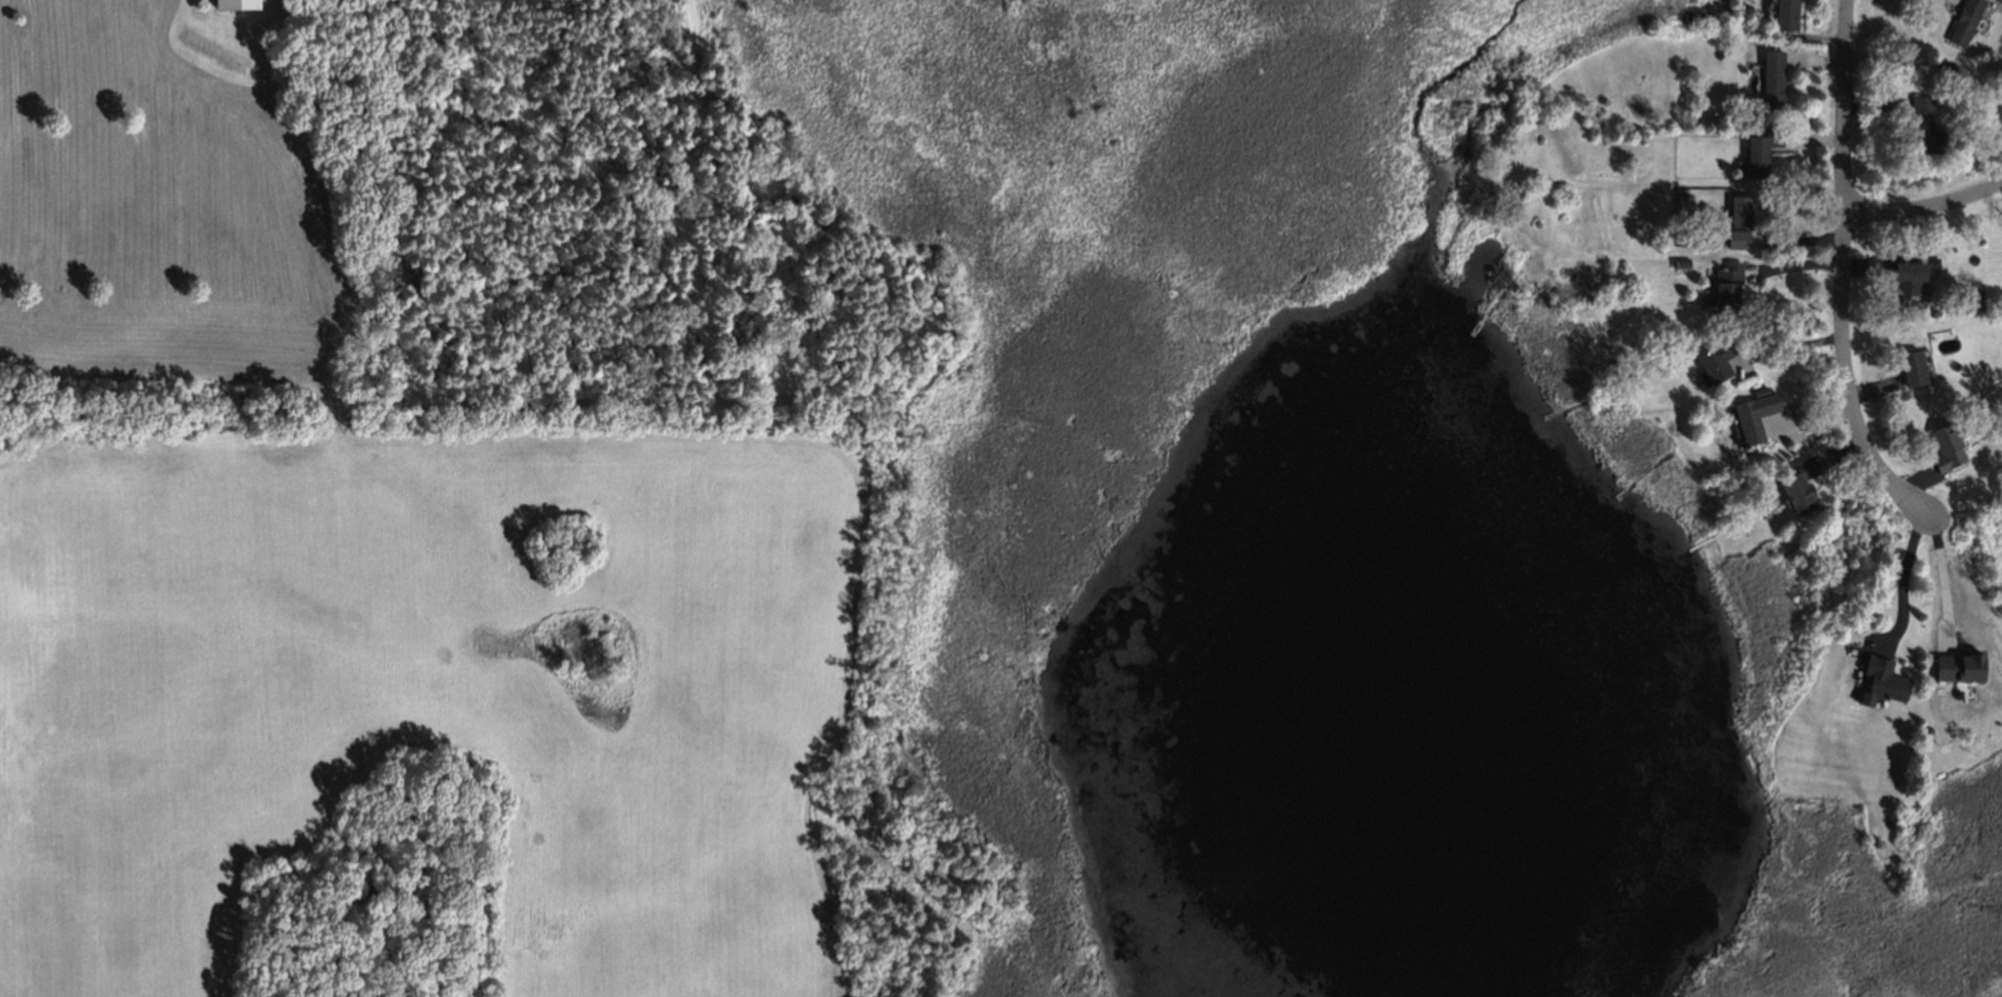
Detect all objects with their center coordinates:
building: (2000, 0)
building: (238, 5)
building: (1784, 14)
building: (1964, 20)
building: (1945, 75)
building: (1771, 76)
building: (1922, 125)
building: (1634, 128)
building: (1759, 150)
building: (1679, 193)
road: (1927, 208)
building: (1737, 210)
building: (1735, 238)
building: (1678, 262)
road: (1845, 274)
building: (1907, 279)
building: (1725, 282)
building: (1976, 291)
building: (1952, 324)
road: (1790, 346)
building: (1714, 358)
building: (1909, 366)
building: (1751, 414)
building: (1943, 445)
building: (1798, 484)
road: (1948, 577)
road: (1904, 587)
building: (1881, 678)

